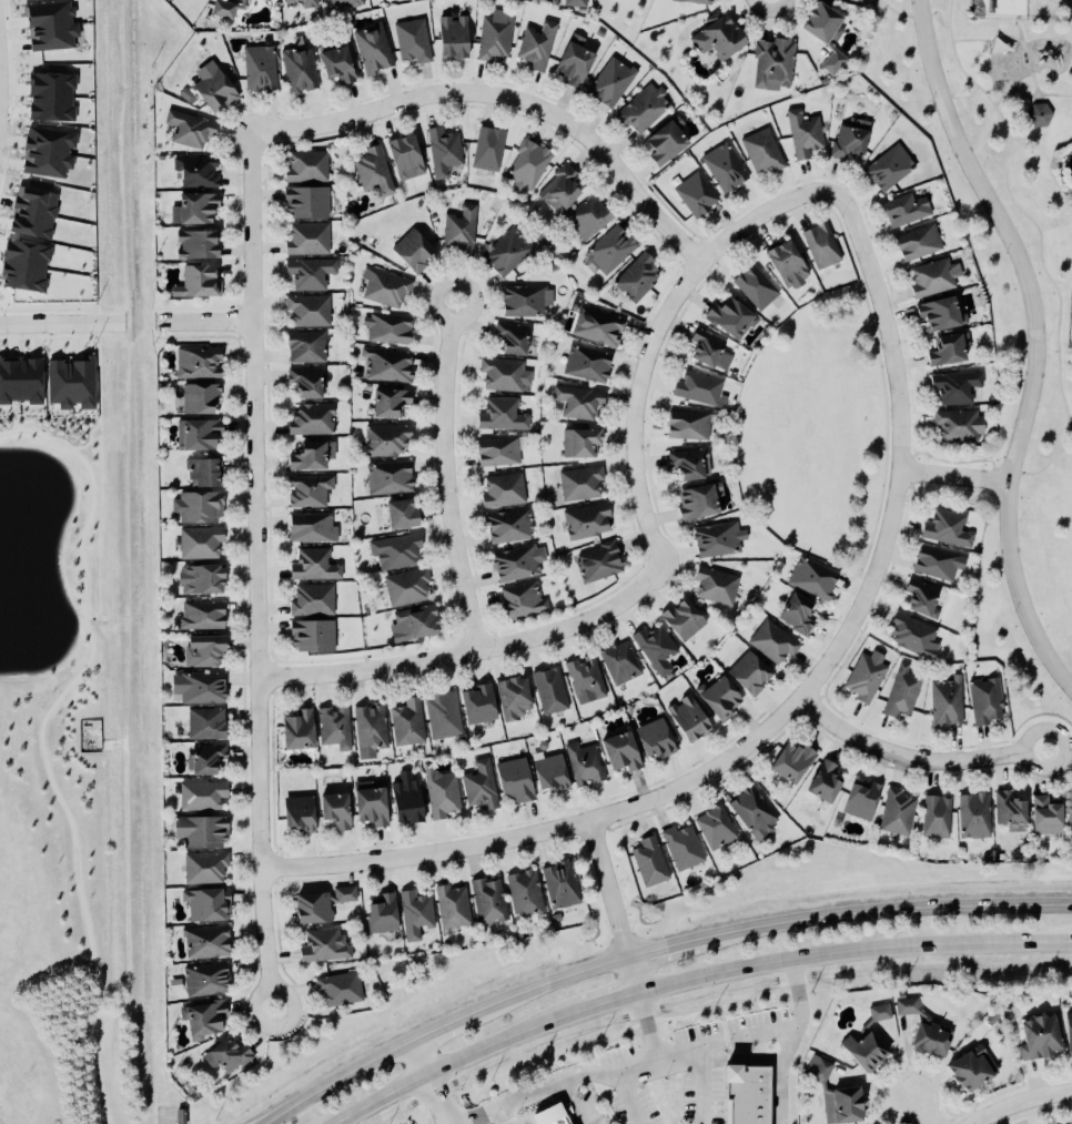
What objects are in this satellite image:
building: (267, 0)
building: (604, 0)
building: (691, 1)
building: (302, 2)
building: (343, 3)
building: (574, 3)
building: (225, 8)
road: (950, 12)
road: (921, 14)
road: (940, 19)
building: (816, 22)
building: (48, 27)
road: (1020, 31)
road: (951, 33)
building: (448, 37)
building: (714, 38)
road: (1007, 38)
building: (493, 39)
road: (972, 41)
building: (411, 42)
building: (535, 47)
building: (372, 50)
building: (570, 62)
building: (831, 63)
building: (335, 64)
building: (771, 64)
road: (988, 67)
road: (1029, 67)
building: (297, 68)
building: (257, 69)
park: (1009, 69)
road: (963, 71)
building: (609, 83)
building: (210, 89)
road: (989, 91)
road: (997, 92)
road: (1035, 93)
road: (1040, 93)
road: (1058, 95)
road: (1017, 97)
building: (48, 98)
road: (506, 98)
road: (1040, 99)
road: (1035, 100)
road: (991, 101)
road: (998, 102)
road: (1039, 103)
building: (643, 109)
building: (1031, 113)
building: (186, 130)
building: (801, 134)
building: (848, 140)
building: (661, 143)
building: (486, 149)
building: (45, 152)
building: (442, 152)
building: (761, 152)
building: (402, 158)
building: (527, 164)
building: (304, 168)
building: (724, 169)
building: (887, 169)
building: (371, 171)
building: (195, 172)
building: (558, 190)
building: (695, 195)
building: (304, 203)
building: (193, 207)
building: (903, 211)
building: (31, 213)
building: (587, 219)
building: (457, 231)
building: (306, 240)
building: (916, 244)
building: (194, 245)
building: (819, 245)
building: (609, 250)
building: (411, 252)
building: (505, 253)
building: (783, 264)
road: (1042, 264)
building: (24, 266)
building: (307, 273)
building: (931, 277)
building: (635, 279)
building: (198, 282)
building: (383, 287)
building: (754, 287)
building: (524, 301)
building: (306, 311)
building: (934, 314)
building: (728, 318)
road: (206, 322)
road: (54, 324)
building: (596, 326)
building: (386, 327)
road: (657, 334)
building: (507, 338)
road: (1036, 338)
building: (304, 347)
building: (707, 351)
building: (942, 351)
building: (198, 363)
building: (585, 364)
building: (386, 365)
building: (502, 376)
building: (20, 381)
building: (303, 382)
building: (71, 383)
building: (952, 387)
building: (697, 389)
building: (198, 398)
building: (577, 402)
building: (387, 403)
building: (499, 415)
building: (310, 419)
building: (686, 426)
building: (954, 426)
road: (1071, 429)
building: (193, 435)
building: (385, 441)
road: (1068, 441)
building: (577, 443)
road: (1065, 449)
building: (495, 452)
building: (307, 455)
road: (1043, 468)
building: (201, 473)
road: (446, 477)
road: (954, 477)
building: (387, 478)
building: (578, 484)
building: (307, 490)
building: (502, 492)
building: (695, 502)
building: (195, 507)
building: (398, 515)
building: (585, 522)
building: (507, 527)
building: (307, 528)
building: (944, 529)
building: (715, 539)
building: (198, 543)
building: (394, 551)
building: (597, 563)
building: (516, 564)
building: (934, 564)
building: (312, 565)
road: (128, 566)
road: (259, 570)
building: (810, 578)
building: (198, 580)
building: (714, 586)
building: (406, 588)
building: (918, 599)
building: (311, 600)
building: (519, 601)
building: (793, 615)
building: (199, 617)
building: (679, 620)
building: (414, 622)
building: (310, 637)
building: (911, 637)
building: (771, 642)
building: (653, 649)
building: (200, 651)
road: (475, 654)
building: (618, 664)
building: (581, 676)
building: (746, 676)
building: (862, 679)
building: (196, 688)
building: (548, 691)
building: (900, 693)
building: (510, 697)
building: (716, 700)
building: (983, 701)
building: (945, 702)
building: (474, 706)
road: (788, 711)
building: (441, 716)
building: (684, 719)
building: (405, 723)
building: (204, 725)
building: (333, 728)
building: (294, 730)
building: (368, 730)
building: (650, 740)
building: (617, 752)
building: (203, 759)
road: (918, 759)
building: (788, 763)
building: (583, 764)
building: (546, 774)
building: (510, 782)
building: (821, 782)
building: (477, 787)
building: (439, 793)
building: (200, 796)
building: (402, 800)
building: (859, 800)
building: (366, 804)
building: (332, 811)
building: (752, 812)
building: (1008, 812)
building: (896, 813)
building: (296, 814)
building: (1068, 814)
building: (973, 817)
building: (1042, 817)
building: (936, 818)
building: (715, 828)
building: (198, 832)
building: (681, 848)
building: (648, 862)
building: (202, 868)
building: (556, 885)
road: (609, 888)
building: (522, 892)
building: (486, 901)
building: (203, 905)
building: (317, 905)
building: (451, 907)
road: (883, 910)
building: (380, 915)
building: (415, 915)
building: (204, 943)
road: (664, 945)
road: (853, 945)
building: (321, 946)
road: (634, 972)
building: (202, 980)
road: (550, 982)
building: (337, 990)
road: (607, 996)
building: (904, 1007)
building: (877, 1013)
building: (202, 1020)
road: (648, 1025)
road: (443, 1030)
building: (1066, 1034)
road: (748, 1036)
building: (1036, 1039)
building: (928, 1040)
building: (861, 1052)
road: (680, 1054)
building: (223, 1057)
road: (418, 1059)
road: (458, 1059)
building: (816, 1071)
building: (968, 1071)
road: (782, 1073)
road: (575, 1075)
road: (338, 1082)
building: (740, 1094)
road: (437, 1098)
road: (631, 1098)
road: (1022, 1101)
road: (576, 1102)
building: (839, 1106)
road: (921, 1113)
building: (545, 1116)
road: (484, 1117)
road: (500, 1117)

